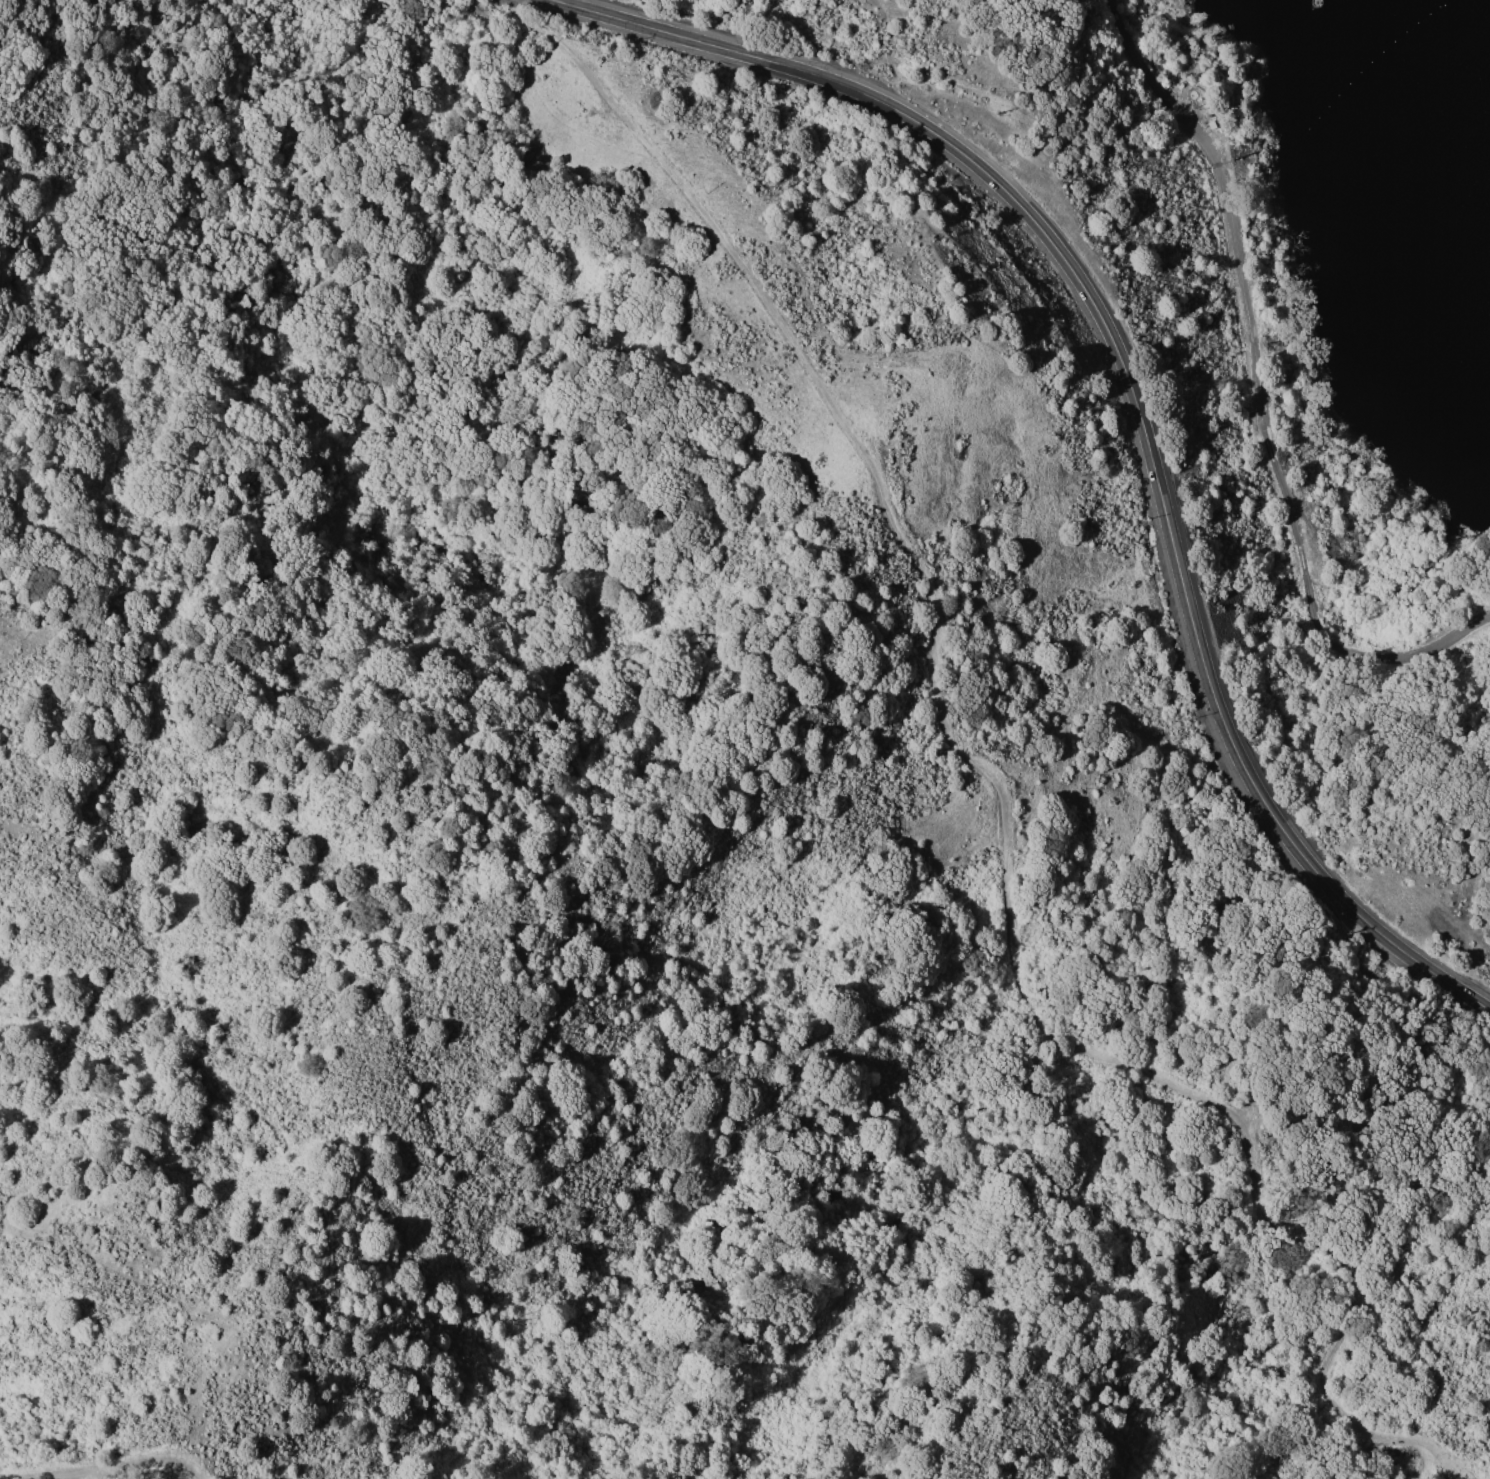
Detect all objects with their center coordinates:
road: (1226, 197)
road: (1135, 389)
road: (1315, 624)
road: (985, 780)

